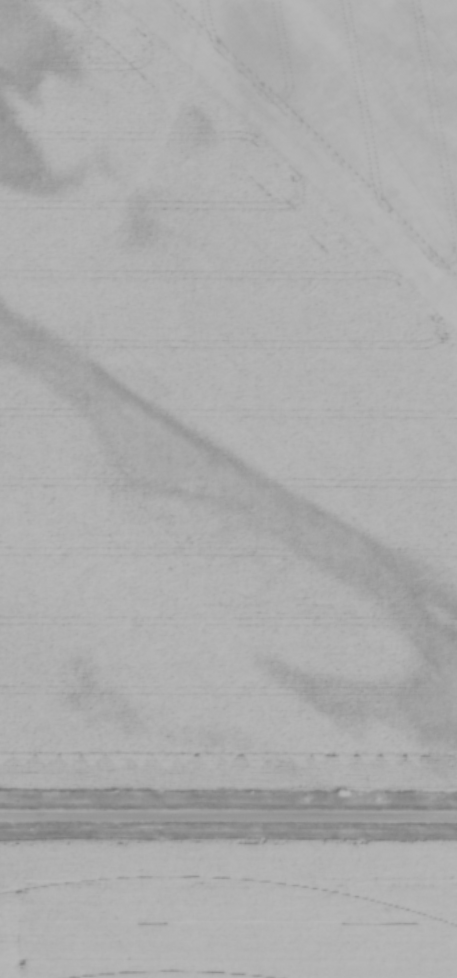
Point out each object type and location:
road: (228, 819)

